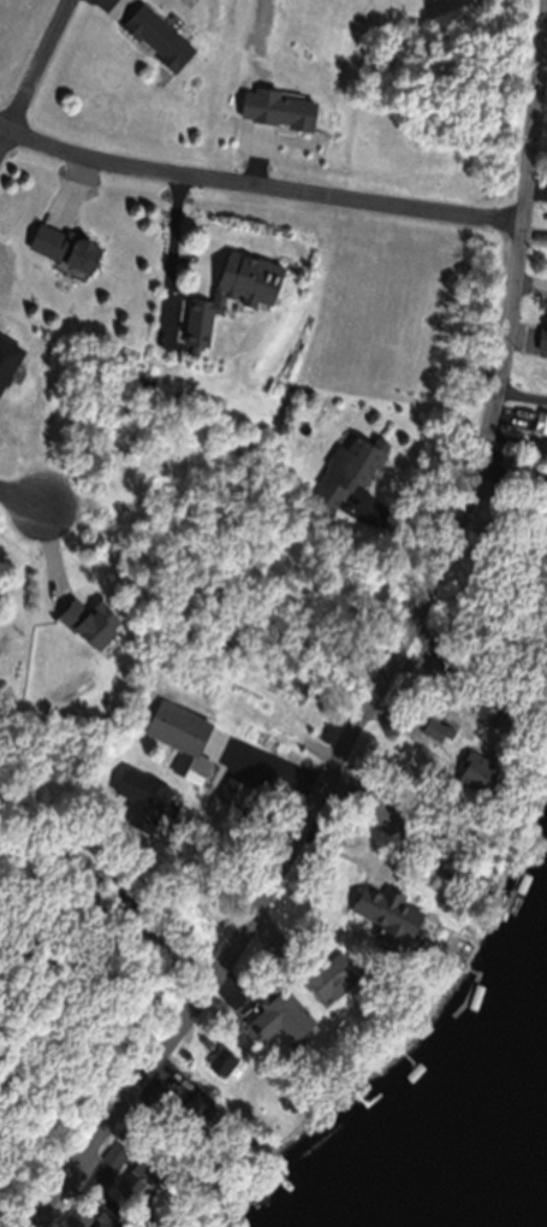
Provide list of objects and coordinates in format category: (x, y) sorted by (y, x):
building: (156, 43)
road: (38, 82)
building: (277, 114)
road: (257, 201)
building: (64, 253)
road: (170, 260)
building: (232, 297)
building: (7, 364)
building: (344, 480)
building: (543, 500)
road: (19, 503)
building: (89, 627)
road: (394, 662)
building: (369, 815)
building: (400, 926)
building: (327, 984)
building: (278, 1024)
river: (510, 1157)
building: (115, 1161)
building: (77, 1221)

